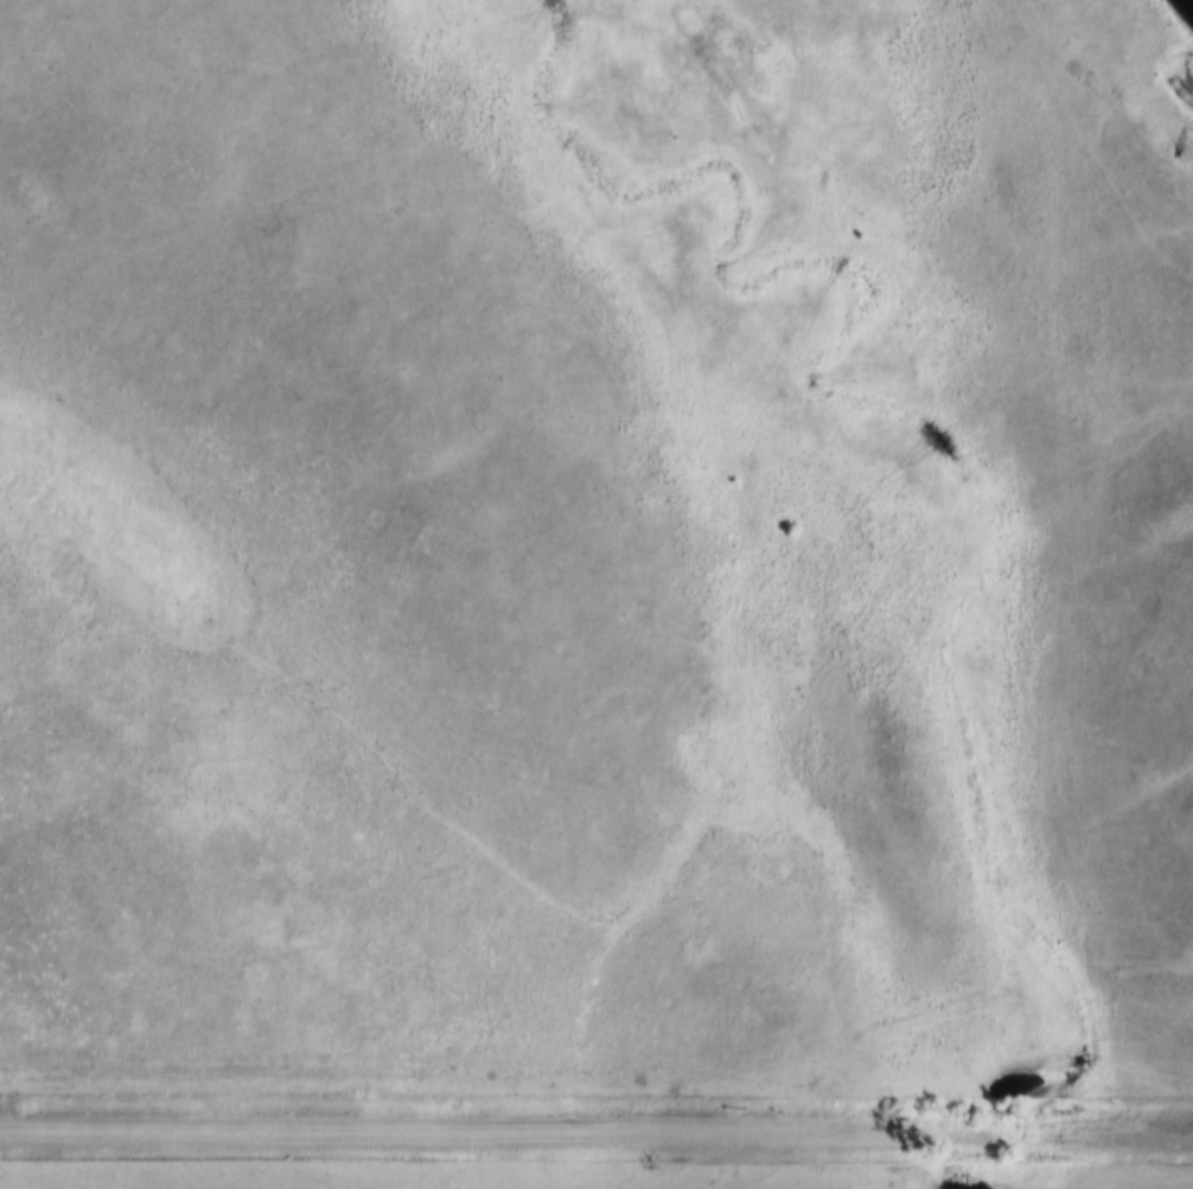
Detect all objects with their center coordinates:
road: (595, 1125)

